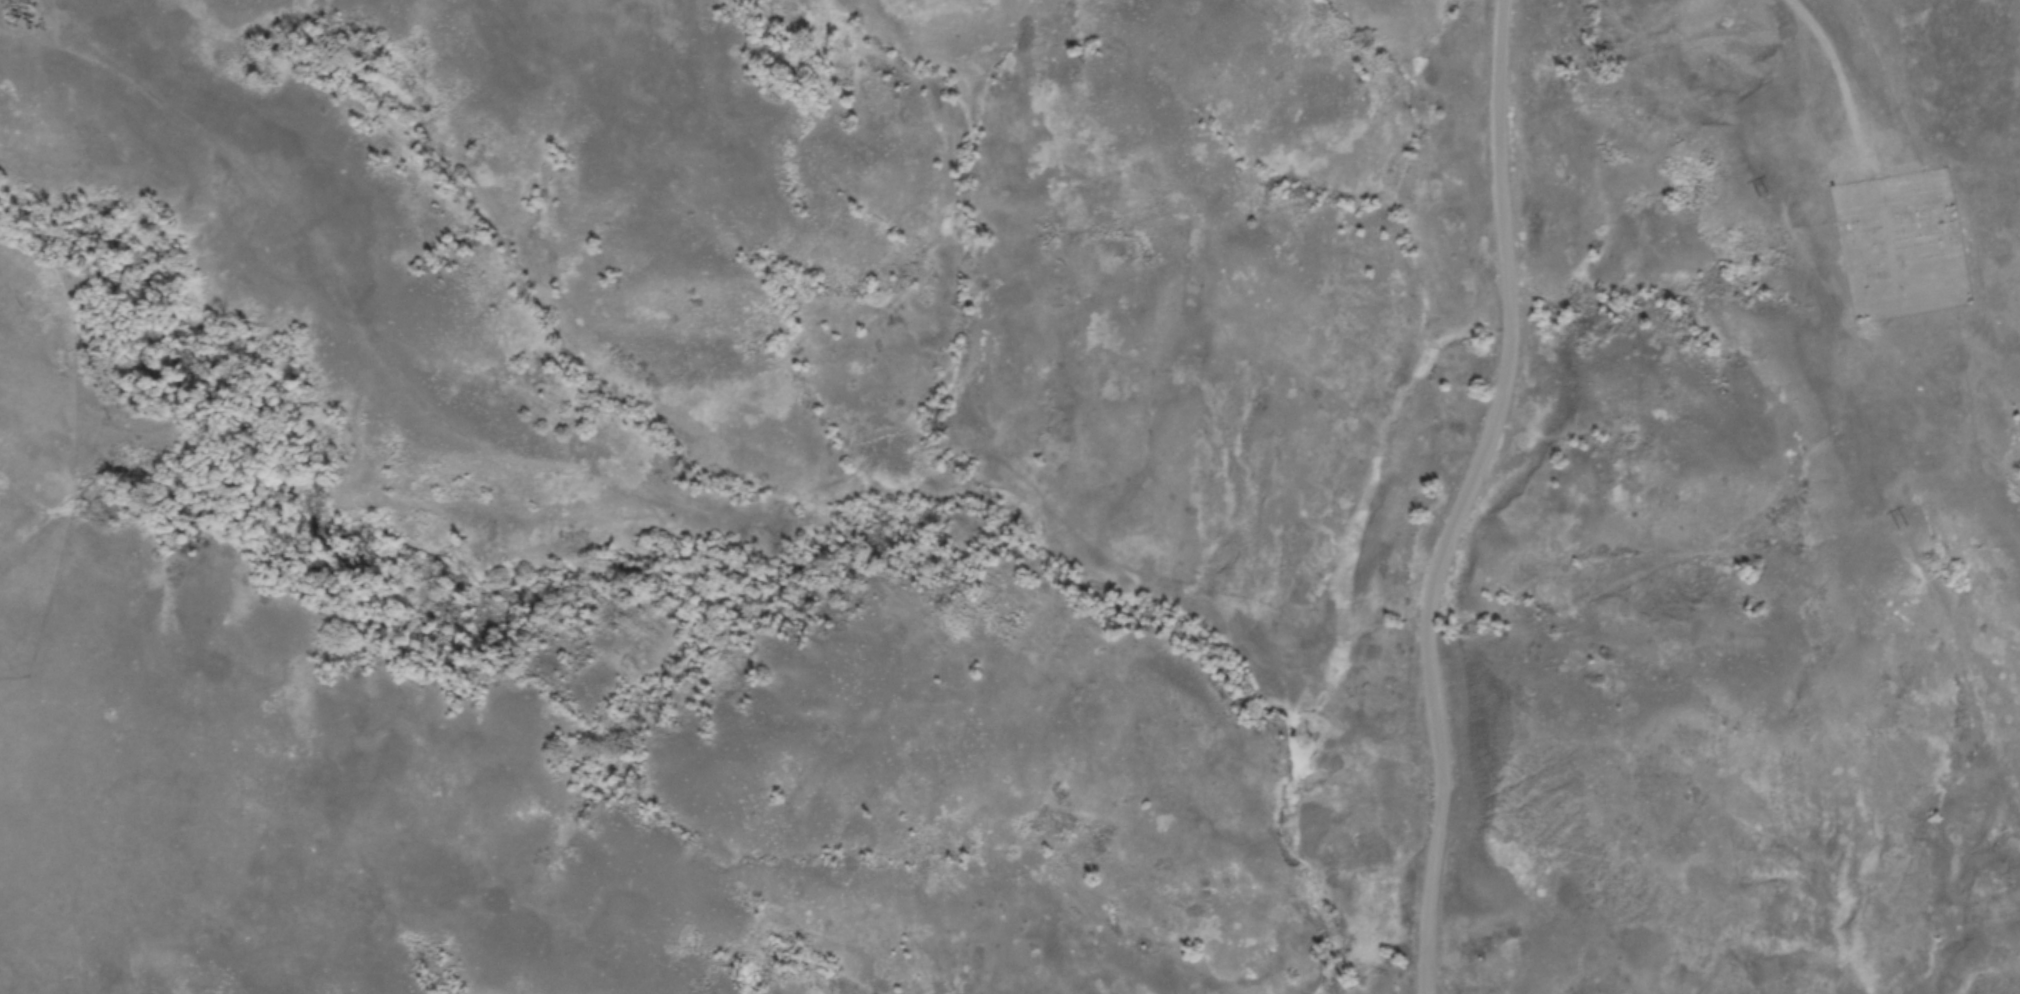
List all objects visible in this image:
power tower: (1766, 197)
road: (1465, 496)
power tower: (1904, 529)

